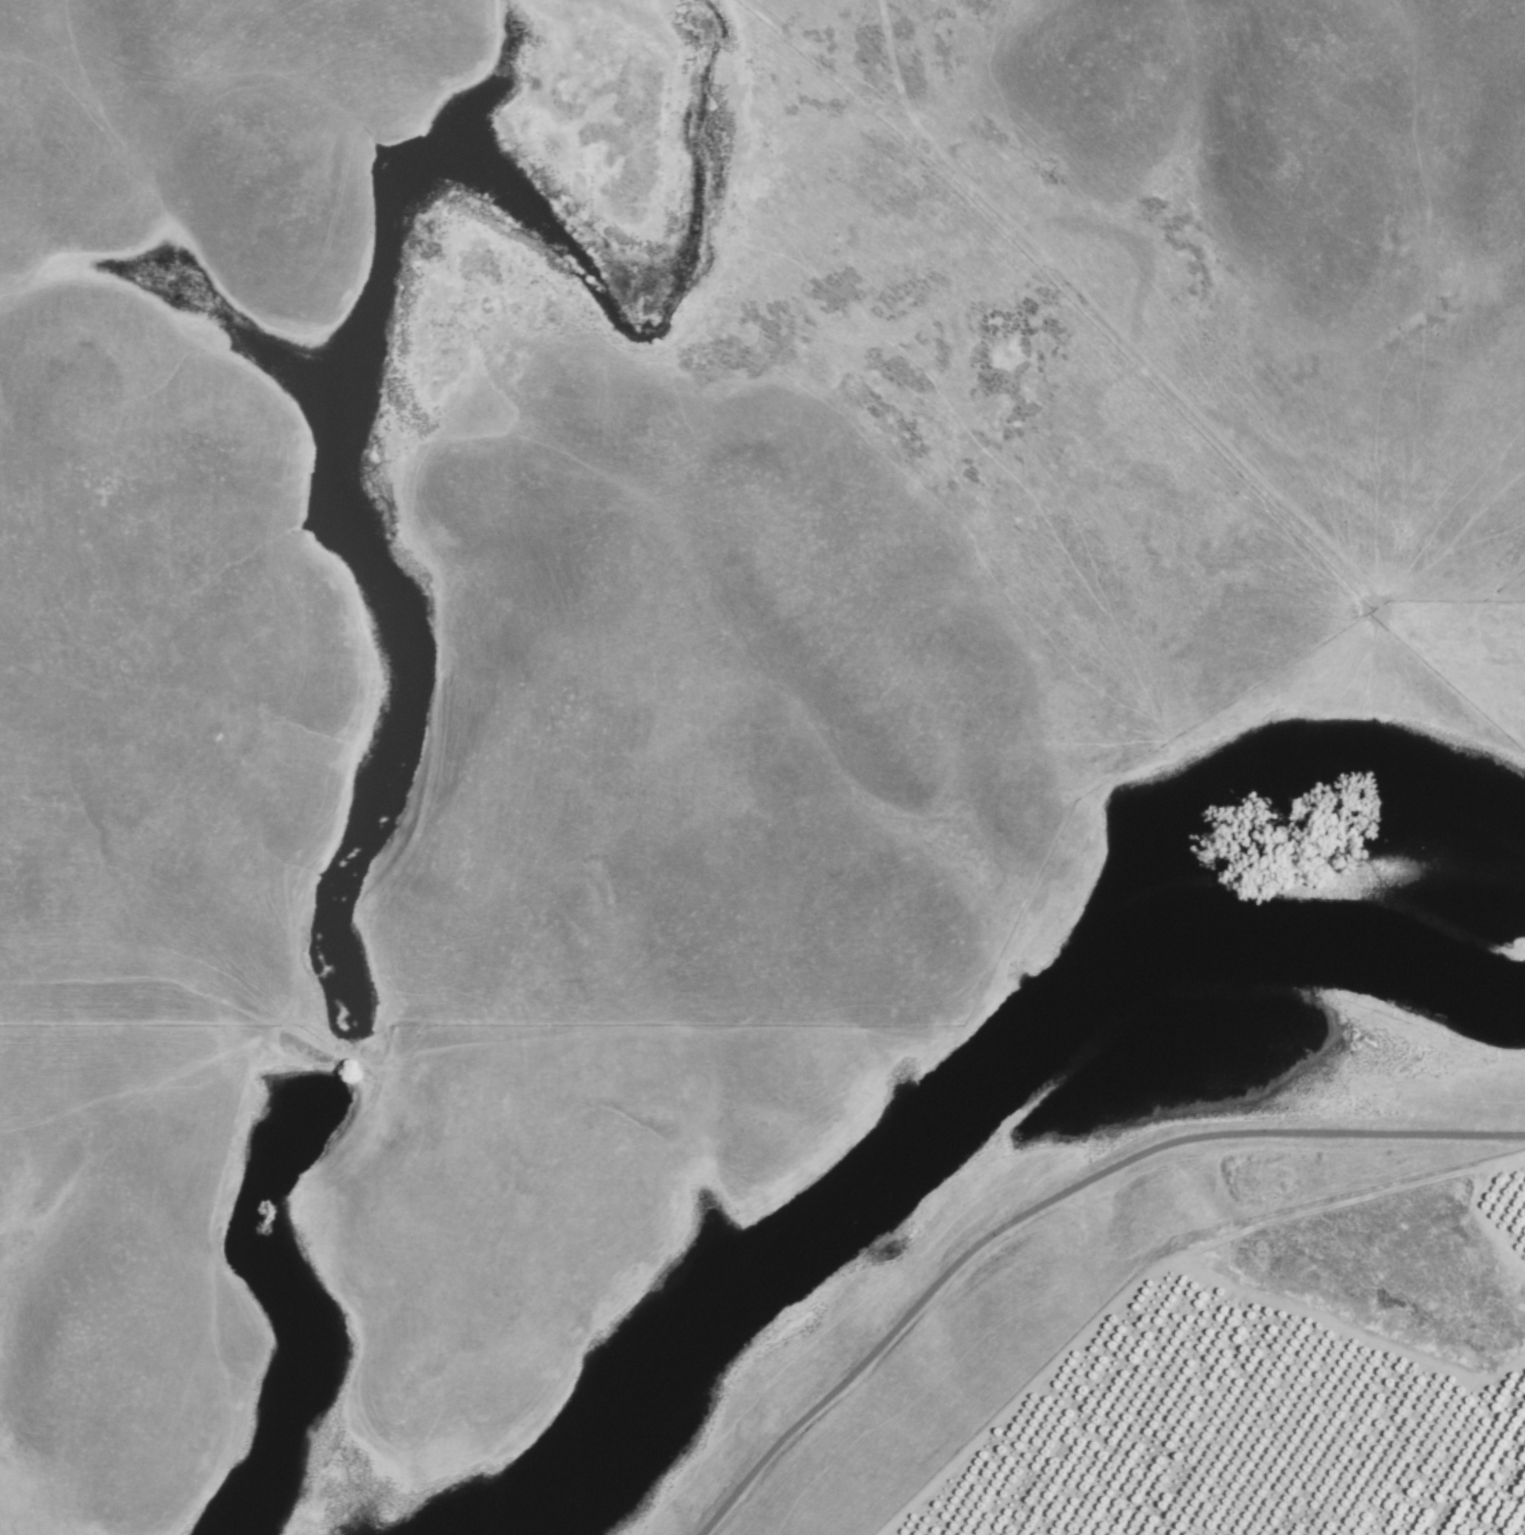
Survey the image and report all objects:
road: (1154, 335)
road: (1033, 1191)

